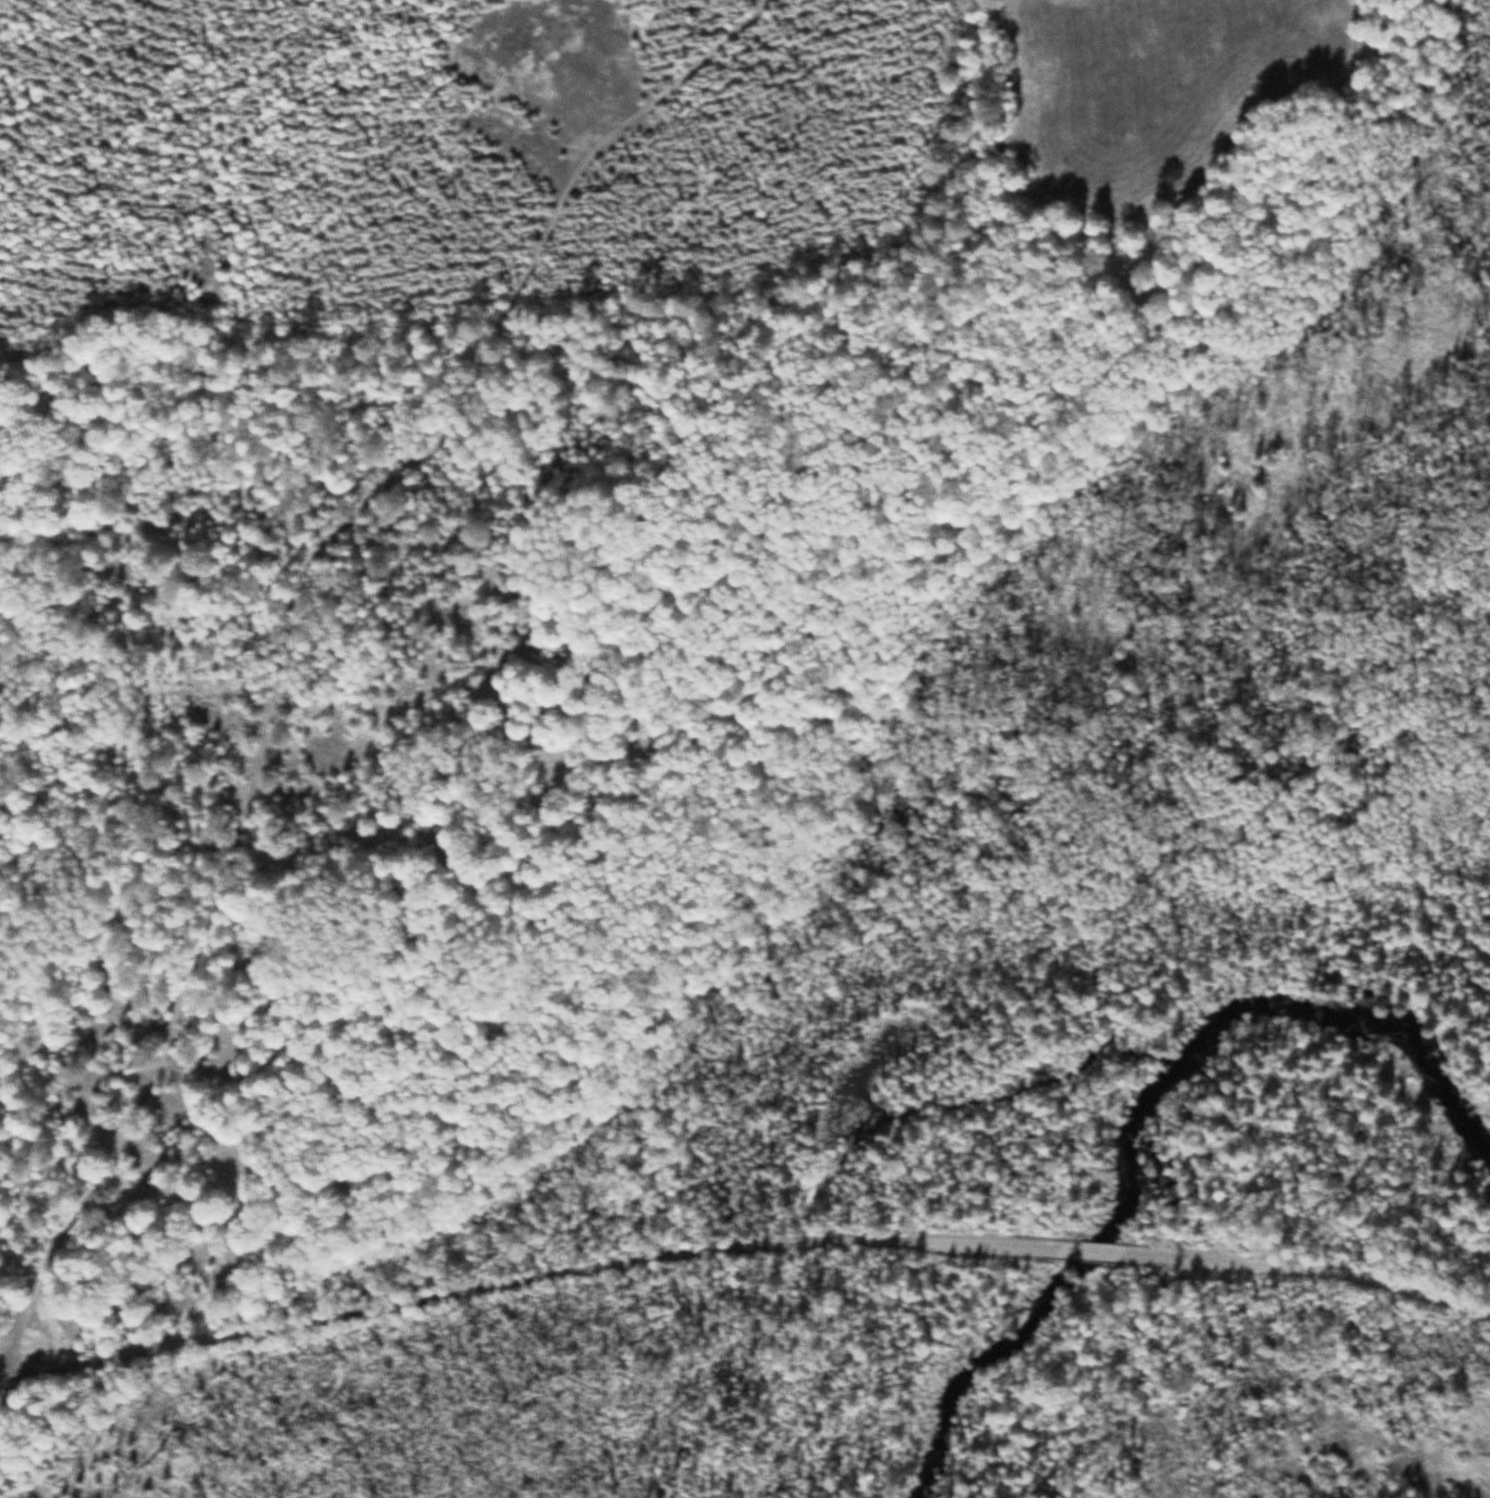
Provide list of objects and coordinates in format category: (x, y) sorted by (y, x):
road: (290, 622)
river: (1169, 1119)
road: (990, 1246)
road: (1086, 1251)
road: (1208, 1260)
road: (1397, 1284)
road: (458, 1287)

